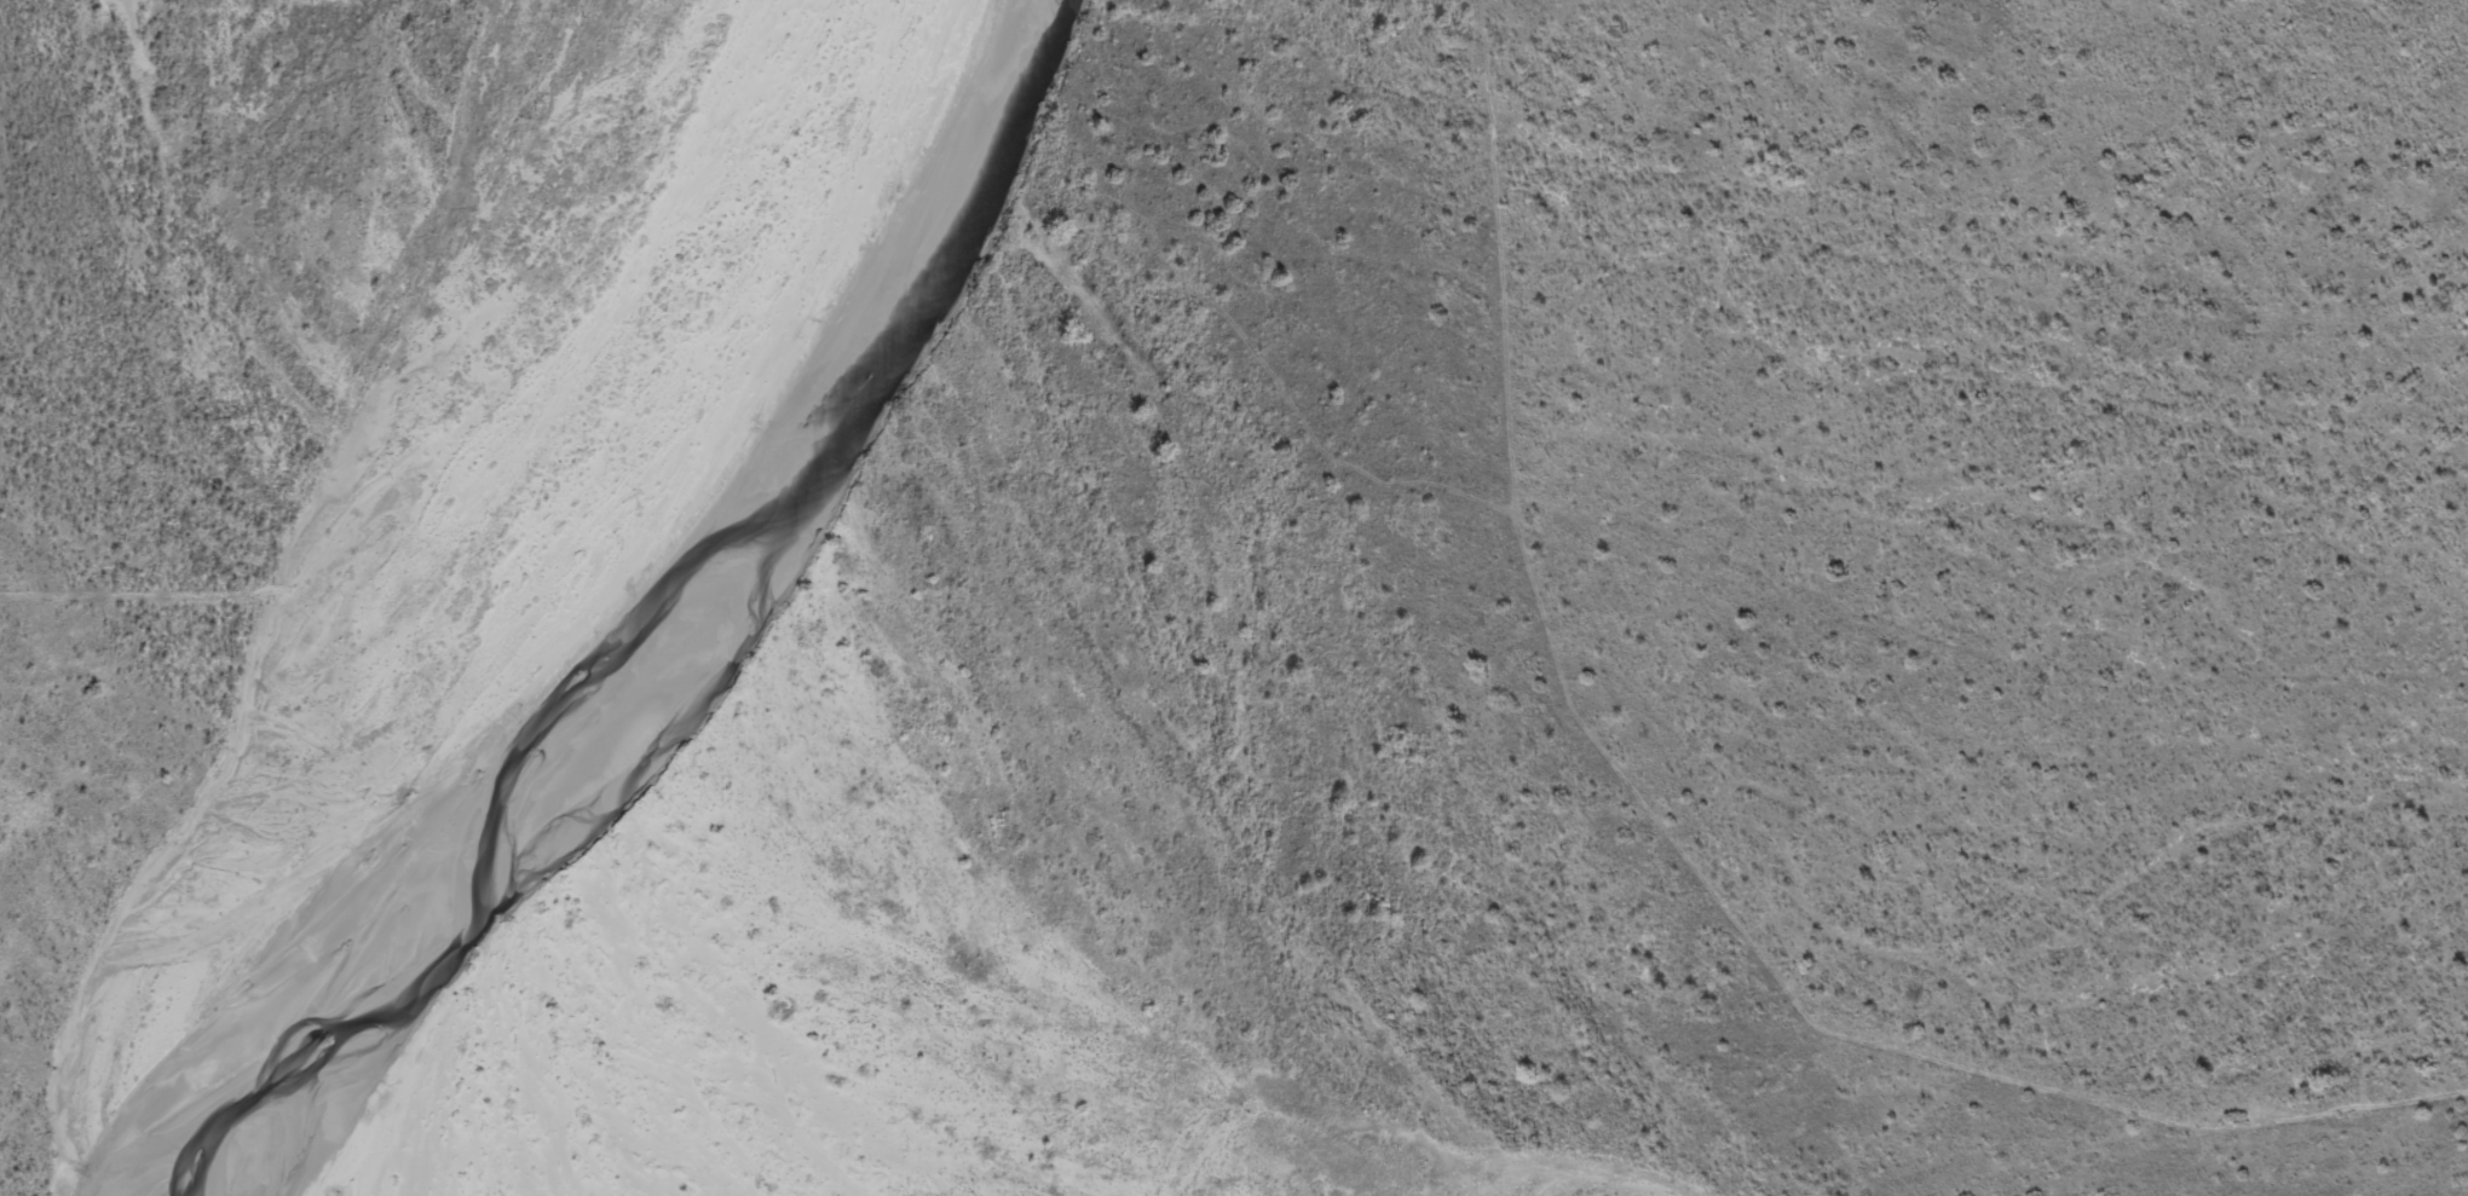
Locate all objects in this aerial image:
river: (945, 622)
road: (1683, 845)

